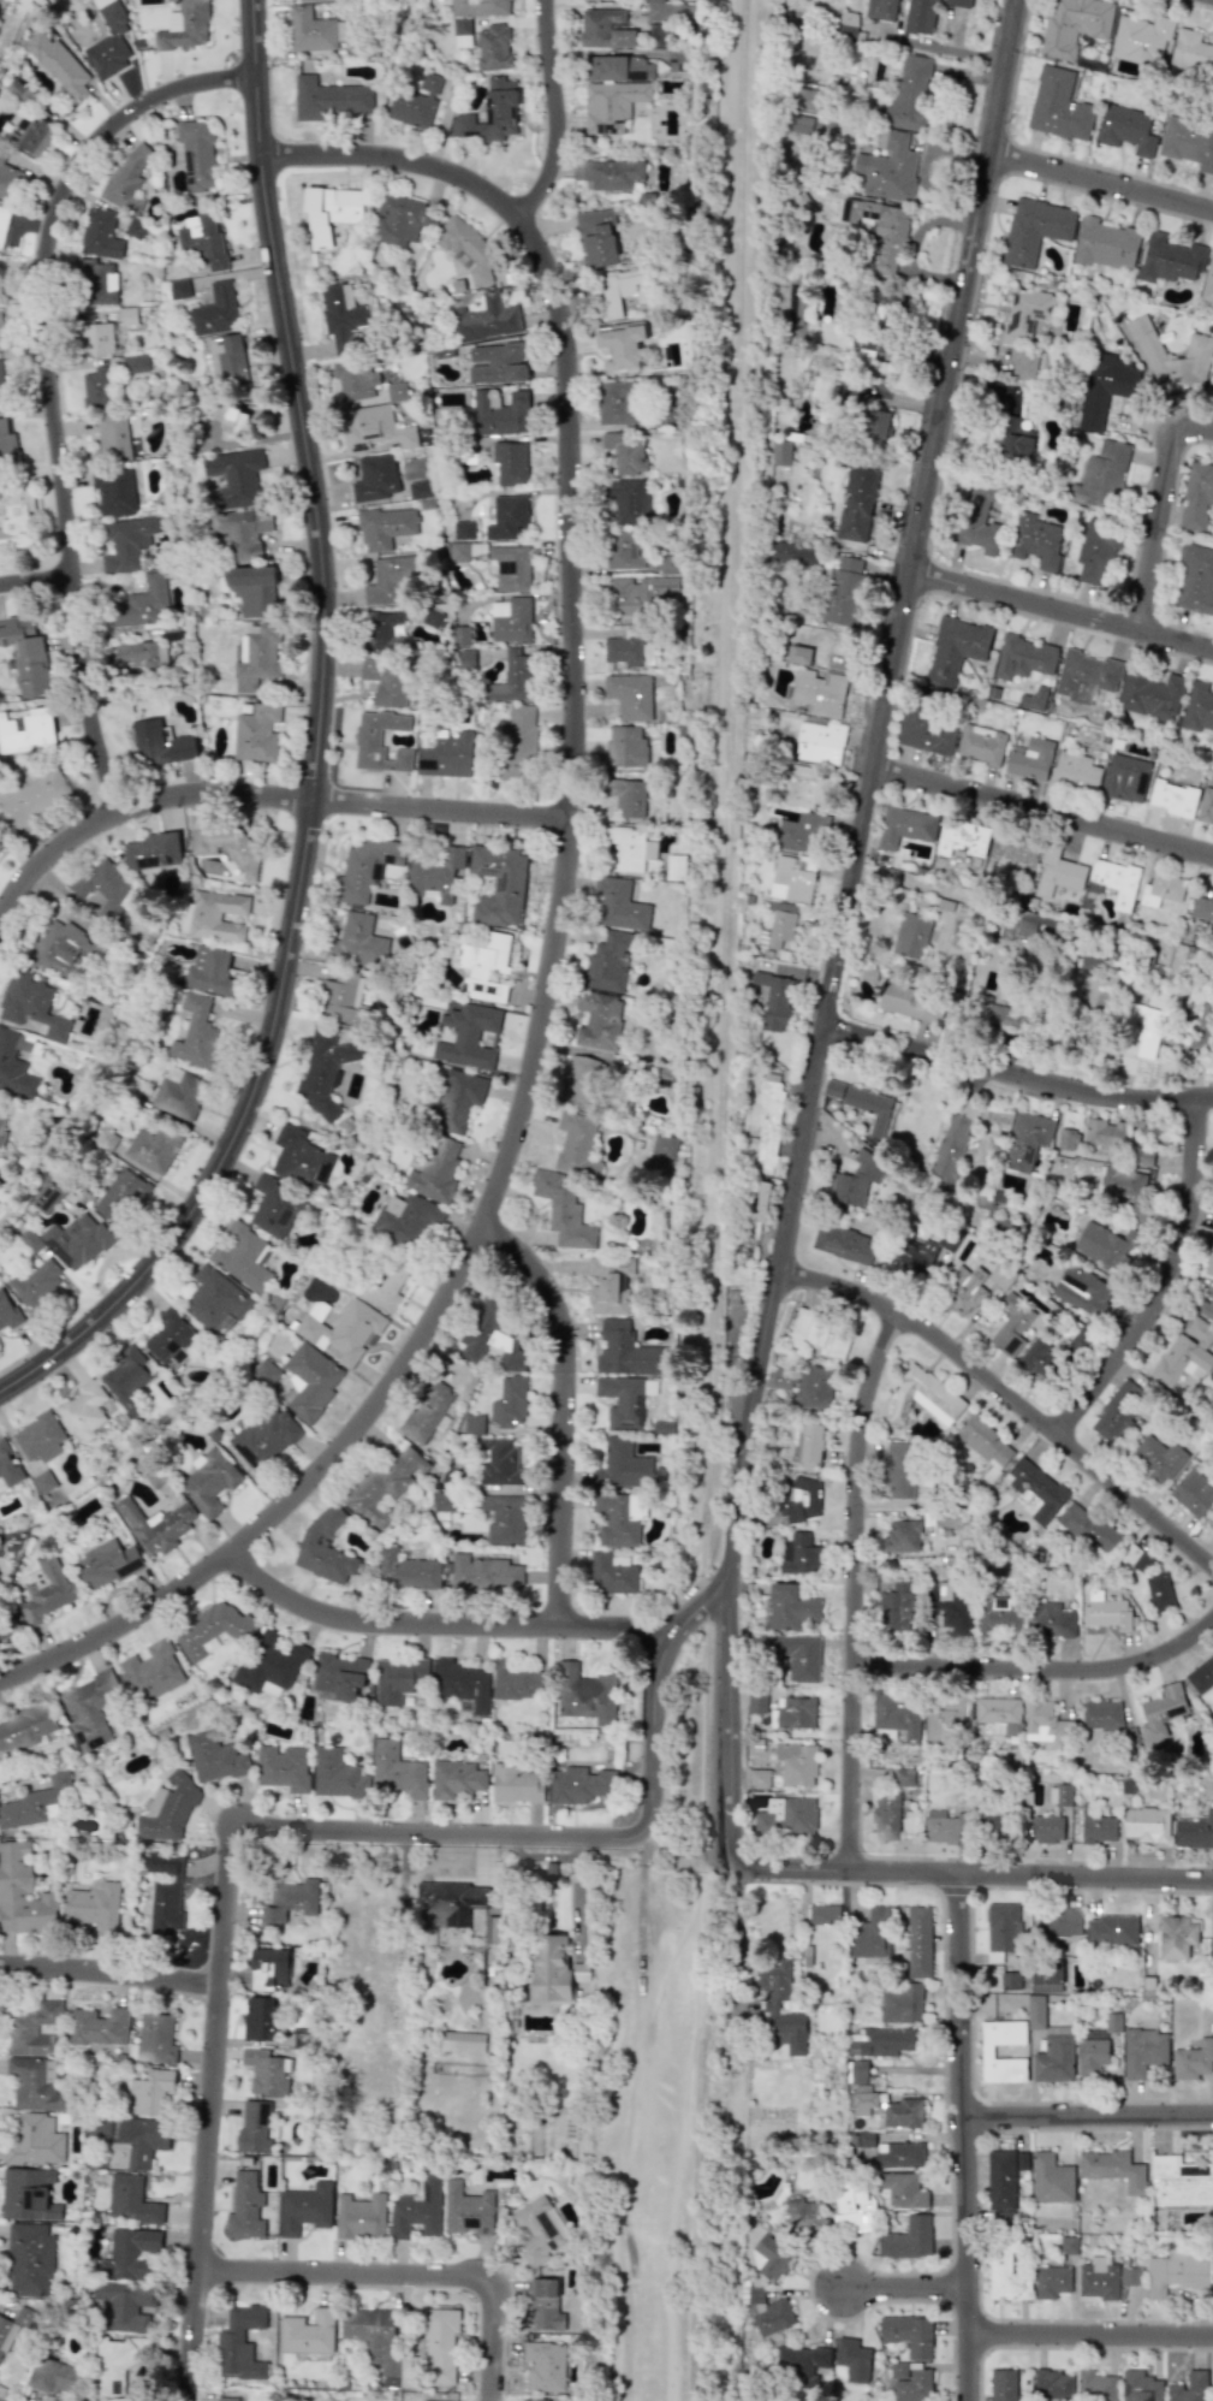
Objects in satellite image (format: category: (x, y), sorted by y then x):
building: (320, 0)
building: (961, 1)
building: (480, 7)
building: (881, 7)
building: (666, 11)
building: (918, 17)
building: (848, 23)
building: (185, 25)
building: (1074, 25)
building: (606, 29)
building: (315, 30)
building: (462, 32)
building: (1141, 38)
building: (109, 40)
building: (494, 47)
road: (950, 48)
building: (1191, 53)
building: (677, 61)
building: (59, 65)
building: (625, 69)
building: (429, 82)
building: (909, 94)
building: (331, 99)
building: (612, 105)
building: (1059, 105)
building: (411, 108)
building: (638, 109)
building: (489, 113)
road: (560, 115)
building: (811, 125)
building: (1126, 130)
building: (31, 132)
building: (1188, 143)
building: (0, 150)
building: (194, 154)
building: (888, 168)
building: (610, 172)
building: (127, 177)
building: (8, 182)
road: (1101, 182)
building: (329, 213)
building: (399, 220)
building: (2, 224)
building: (1037, 227)
building: (135, 229)
building: (881, 232)
building: (100, 235)
building: (599, 237)
building: (201, 239)
building: (1105, 244)
road: (914, 247)
building: (466, 248)
building: (1170, 260)
building: (96, 280)
building: (1208, 281)
building: (0, 284)
building: (178, 289)
building: (623, 290)
building: (797, 303)
building: (892, 307)
building: (215, 310)
building: (1027, 313)
building: (127, 315)
building: (341, 315)
building: (484, 319)
building: (1, 331)
building: (95, 338)
building: (624, 345)
building: (1200, 346)
building: (226, 358)
building: (135, 363)
building: (495, 363)
building: (1024, 363)
building: (355, 380)
road: (48, 383)
building: (0, 384)
building: (1211, 386)
building: (96, 387)
building: (1104, 387)
building: (396, 392)
building: (845, 397)
building: (616, 402)
building: (500, 413)
building: (228, 417)
building: (876, 427)
building: (373, 428)
building: (1015, 439)
building: (6, 443)
building: (626, 452)
building: (783, 452)
building: (510, 462)
building: (1101, 476)
building: (236, 478)
building: (375, 478)
building: (421, 490)
building: (114, 492)
building: (1196, 497)
building: (630, 500)
building: (858, 503)
road: (1163, 508)
building: (506, 517)
building: (17, 521)
building: (977, 521)
building: (385, 527)
building: (463, 529)
building: (240, 534)
building: (1036, 540)
building: (126, 543)
building: (457, 551)
building: (623, 551)
building: (1095, 553)
building: (792, 555)
building: (511, 567)
building: (1195, 580)
building: (390, 581)
road: (36, 588)
building: (251, 588)
building: (846, 589)
building: (638, 594)
building: (141, 604)
road: (1062, 612)
building: (432, 617)
building: (511, 619)
building: (382, 629)
building: (460, 635)
building: (956, 648)
building: (630, 650)
building: (25, 654)
building: (139, 654)
building: (799, 656)
building: (257, 657)
building: (1023, 657)
building: (465, 658)
building: (1084, 676)
building: (511, 677)
building: (387, 682)
building: (821, 692)
building: (630, 695)
building: (1152, 695)
building: (1033, 699)
building: (1197, 707)
building: (25, 729)
building: (927, 731)
building: (257, 733)
building: (518, 736)
building: (368, 739)
building: (820, 742)
building: (160, 743)
building: (981, 743)
road: (320, 746)
building: (625, 746)
building: (446, 757)
building: (1030, 758)
railway: (729, 769)
building: (1075, 770)
building: (1124, 778)
building: (808, 787)
road: (261, 794)
building: (628, 796)
building: (1172, 798)
building: (32, 799)
road: (719, 801)
building: (1206, 806)
road: (1043, 813)
building: (905, 826)
building: (801, 832)
building: (962, 837)
building: (0, 843)
building: (226, 847)
building: (629, 848)
building: (153, 850)
building: (1012, 852)
building: (367, 866)
building: (676, 866)
building: (1058, 872)
building: (435, 873)
building: (791, 878)
building: (1113, 882)
building: (499, 884)
building: (106, 888)
building: (1161, 889)
building: (619, 905)
building: (1202, 909)
building: (218, 915)
road: (559, 924)
building: (778, 924)
building: (1021, 925)
road: (845, 930)
building: (911, 936)
building: (358, 941)
building: (63, 947)
building: (607, 962)
building: (486, 966)
building: (209, 971)
building: (985, 983)
building: (341, 996)
building: (774, 1000)
building: (905, 1002)
building: (32, 1004)
building: (1004, 1015)
building: (597, 1019)
building: (1143, 1028)
building: (195, 1032)
building: (468, 1036)
building: (16, 1063)
building: (323, 1071)
road: (1018, 1075)
building: (577, 1080)
building: (179, 1092)
building: (456, 1101)
building: (861, 1103)
building: (768, 1122)
building: (2, 1130)
building: (1104, 1134)
building: (106, 1139)
building: (1028, 1139)
building: (1068, 1139)
building: (577, 1144)
building: (664, 1145)
building: (951, 1148)
building: (153, 1149)
building: (299, 1158)
building: (434, 1170)
building: (855, 1180)
building: (1122, 1184)
building: (120, 1193)
building: (273, 1207)
building: (563, 1210)
building: (405, 1221)
building: (77, 1240)
building: (843, 1243)
building: (1105, 1245)
building: (242, 1255)
building: (915, 1257)
building: (1209, 1261)
building: (385, 1281)
building: (37, 1282)
road: (1167, 1282)
building: (610, 1284)
building: (964, 1290)
building: (1083, 1291)
building: (215, 1298)
building: (1207, 1304)
building: (7, 1311)
building: (344, 1330)
building: (819, 1333)
building: (492, 1336)
building: (171, 1338)
building: (1081, 1340)
building: (625, 1351)
building: (1185, 1354)
building: (1037, 1358)
building: (264, 1373)
building: (126, 1377)
building: (310, 1381)
building: (807, 1386)
road: (1011, 1395)
building: (924, 1397)
building: (624, 1400)
building: (509, 1403)
road: (564, 1409)
building: (84, 1410)
building: (427, 1411)
building: (1118, 1413)
building: (472, 1424)
building: (264, 1436)
building: (41, 1437)
building: (986, 1442)
building: (810, 1446)
building: (1158, 1458)
building: (498, 1462)
building: (622, 1465)
building: (900, 1471)
building: (43, 1482)
building: (209, 1482)
building: (383, 1486)
building: (1035, 1490)
building: (1193, 1493)
building: (444, 1501)
building: (803, 1501)
building: (501, 1518)
building: (616, 1520)
building: (156, 1525)
building: (1089, 1528)
building: (902, 1536)
building: (325, 1548)
building: (799, 1554)
building: (106, 1564)
building: (405, 1571)
building: (484, 1573)
building: (46, 1588)
road: (855, 1590)
building: (789, 1607)
building: (897, 1607)
building: (952, 1608)
building: (1107, 1611)
building: (1052, 1620)
road: (440, 1626)
building: (213, 1630)
building: (759, 1641)
building: (798, 1655)
building: (270, 1664)
road: (1040, 1671)
building: (151, 1672)
building: (1201, 1674)
building: (338, 1676)
building: (399, 1679)
building: (516, 1682)
building: (462, 1685)
building: (584, 1694)
building: (756, 1701)
building: (89, 1708)
building: (1161, 1712)
building: (795, 1713)
building: (1000, 1714)
building: (1102, 1715)
building: (944, 1717)
building: (894, 1719)
building: (1045, 1723)
building: (26, 1726)
building: (1131, 1737)
building: (214, 1759)
building: (797, 1762)
building: (283, 1767)
building: (397, 1771)
building: (337, 1774)
road: (733, 1774)
building: (759, 1778)
building: (905, 1778)
building: (456, 1779)
building: (516, 1784)
building: (581, 1785)
building: (1060, 1795)
building: (37, 1803)
building: (168, 1808)
building: (786, 1816)
building: (886, 1816)
building: (1147, 1824)
building: (995, 1825)
building: (943, 1826)
building: (1099, 1828)
building: (1048, 1830)
building: (1195, 1832)
road: (1030, 1877)
building: (23, 1892)
building: (165, 1893)
road: (577, 1895)
building: (291, 1899)
building: (450, 1901)
building: (94, 1907)
road: (226, 1910)
building: (823, 1914)
road: (400, 1917)
building: (1060, 1922)
building: (1003, 1927)
building: (492, 1929)
building: (1113, 1929)
building: (870, 1934)
building: (1176, 1937)
building: (917, 1943)
building: (268, 1968)
building: (554, 1969)
road: (111, 1974)
road: (736, 1975)
building: (1047, 1976)
building: (1010, 1980)
road: (970, 1991)
road: (698, 2002)
building: (900, 2004)
building: (771, 2005)
building: (1035, 2011)
railway: (702, 2012)
building: (258, 2018)
building: (100, 2027)
building: (32, 2028)
building: (156, 2039)
building: (460, 2041)
building: (881, 2041)
building: (1095, 2047)
building: (987, 2051)
building: (1143, 2051)
building: (1054, 2056)
building: (1193, 2061)
building: (266, 2071)
building: (858, 2071)
road: (1114, 2075)
building: (37, 2086)
building: (150, 2092)
building: (863, 2103)
building: (902, 2114)
road: (1088, 2118)
building: (254, 2128)
road: (965, 2138)
building: (36, 2140)
building: (138, 2142)
building: (899, 2154)
building: (1112, 2169)
building: (1051, 2178)
building: (1000, 2180)
building: (1179, 2182)
building: (902, 2189)
building: (30, 2194)
building: (132, 2199)
building: (245, 2206)
building: (304, 2209)
building: (852, 2209)
building: (417, 2210)
building: (468, 2210)
building: (359, 2216)
building: (804, 2218)
building: (537, 2229)
building: (908, 2239)
building: (1069, 2245)
building: (133, 2253)
building: (769, 2258)
building: (31, 2259)
building: (1000, 2267)
building: (1176, 2271)
road: (411, 2273)
building: (1130, 2276)
building: (1098, 2278)
building: (1051, 2282)
road: (905, 2288)
building: (126, 2305)
building: (545, 2306)
building: (13, 2329)
building: (308, 2332)
building: (908, 2334)
road: (1090, 2337)
building: (440, 2342)
building: (240, 2343)
building: (377, 2343)
building: (852, 2360)
building: (121, 2363)
building: (801, 2364)
building: (545, 2365)
building: (898, 2370)
building: (55, 2376)
building: (1003, 2384)
building: (914, 2385)
building: (1053, 2385)
building: (1096, 2387)
building: (1140, 2387)
building: (1188, 2388)
building: (227, 2399)
building: (534, 2400)

